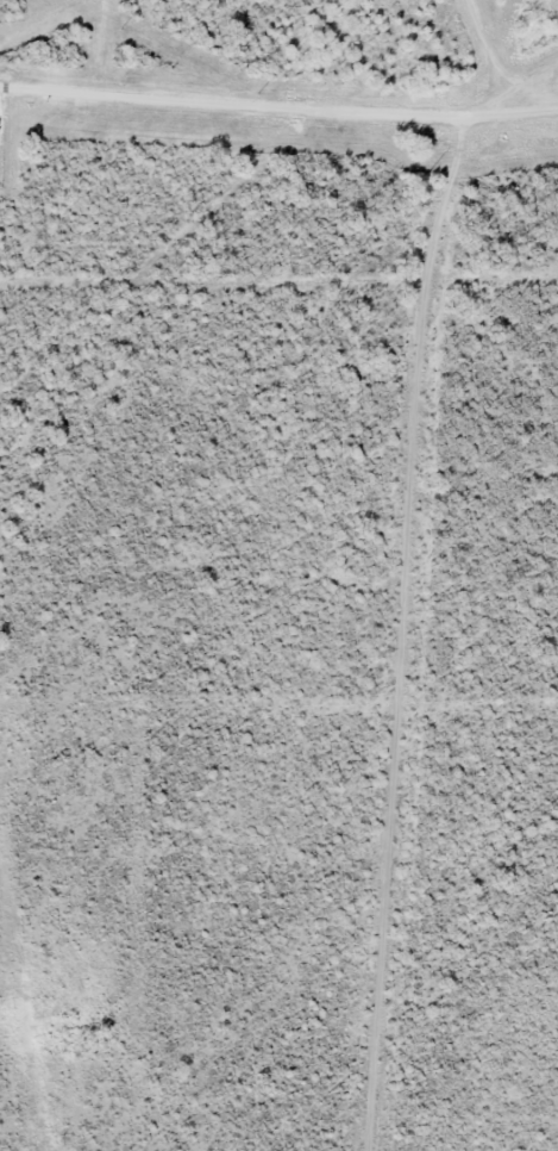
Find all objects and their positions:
road: (481, 62)
road: (523, 68)
road: (278, 118)

